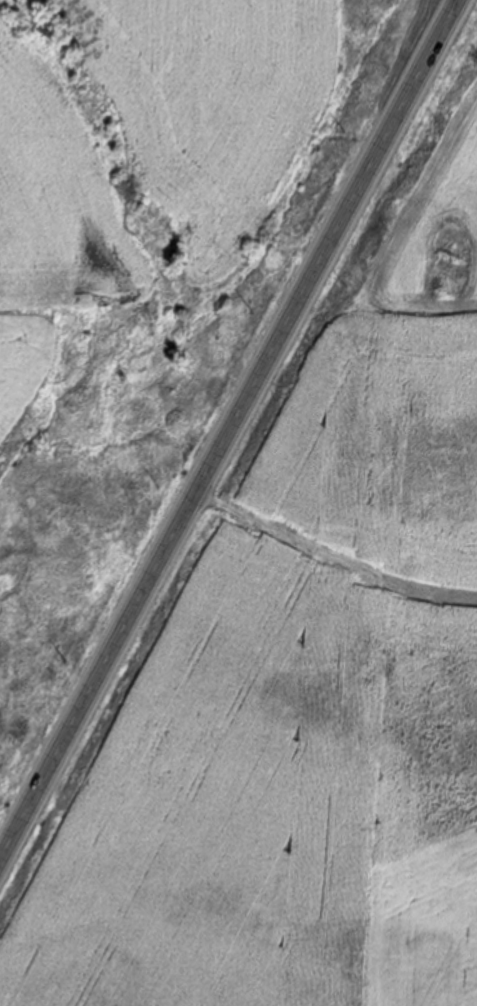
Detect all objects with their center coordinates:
road: (230, 427)

